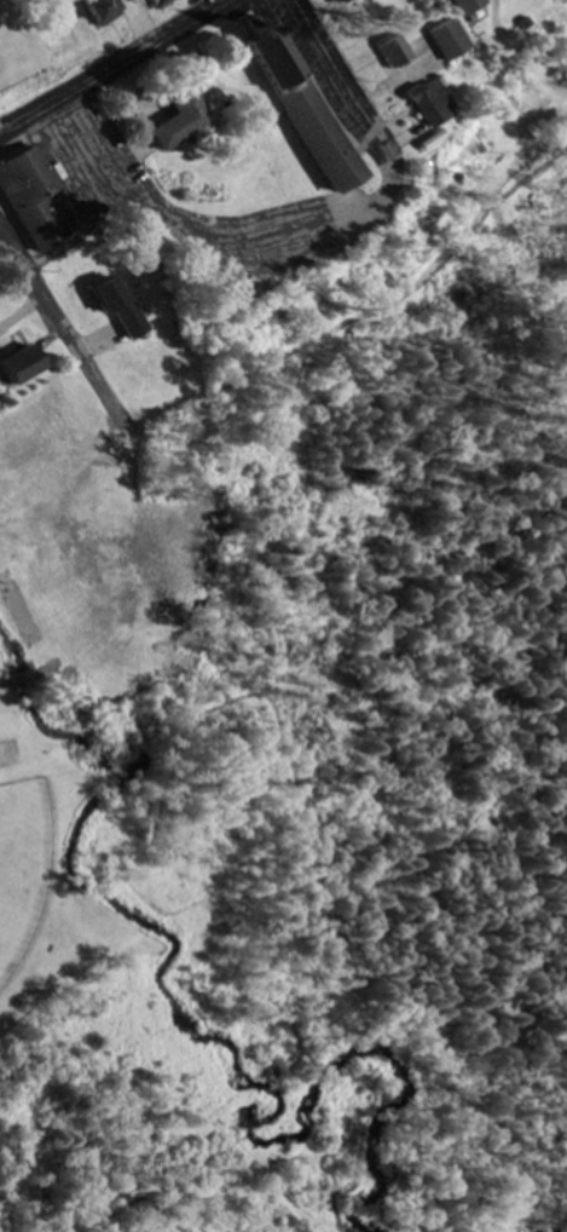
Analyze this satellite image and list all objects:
building: (335, 2)
building: (92, 11)
building: (440, 42)
building: (386, 54)
road: (112, 69)
road: (328, 77)
building: (420, 108)
building: (296, 113)
building: (177, 122)
building: (33, 200)
building: (118, 307)
road: (62, 329)
building: (18, 368)
park: (52, 782)

